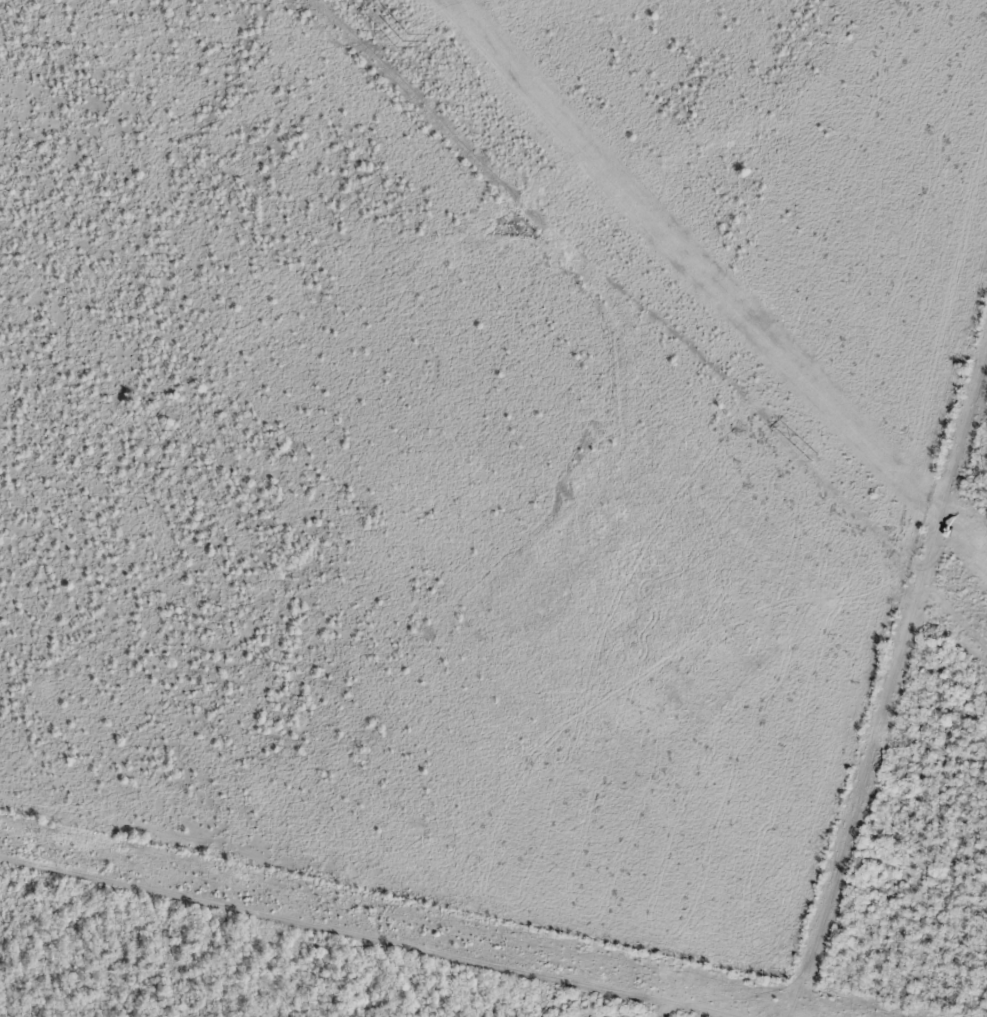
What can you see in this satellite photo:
power tower: (402, 38)
power tower: (815, 456)
road: (883, 680)
road: (367, 934)

